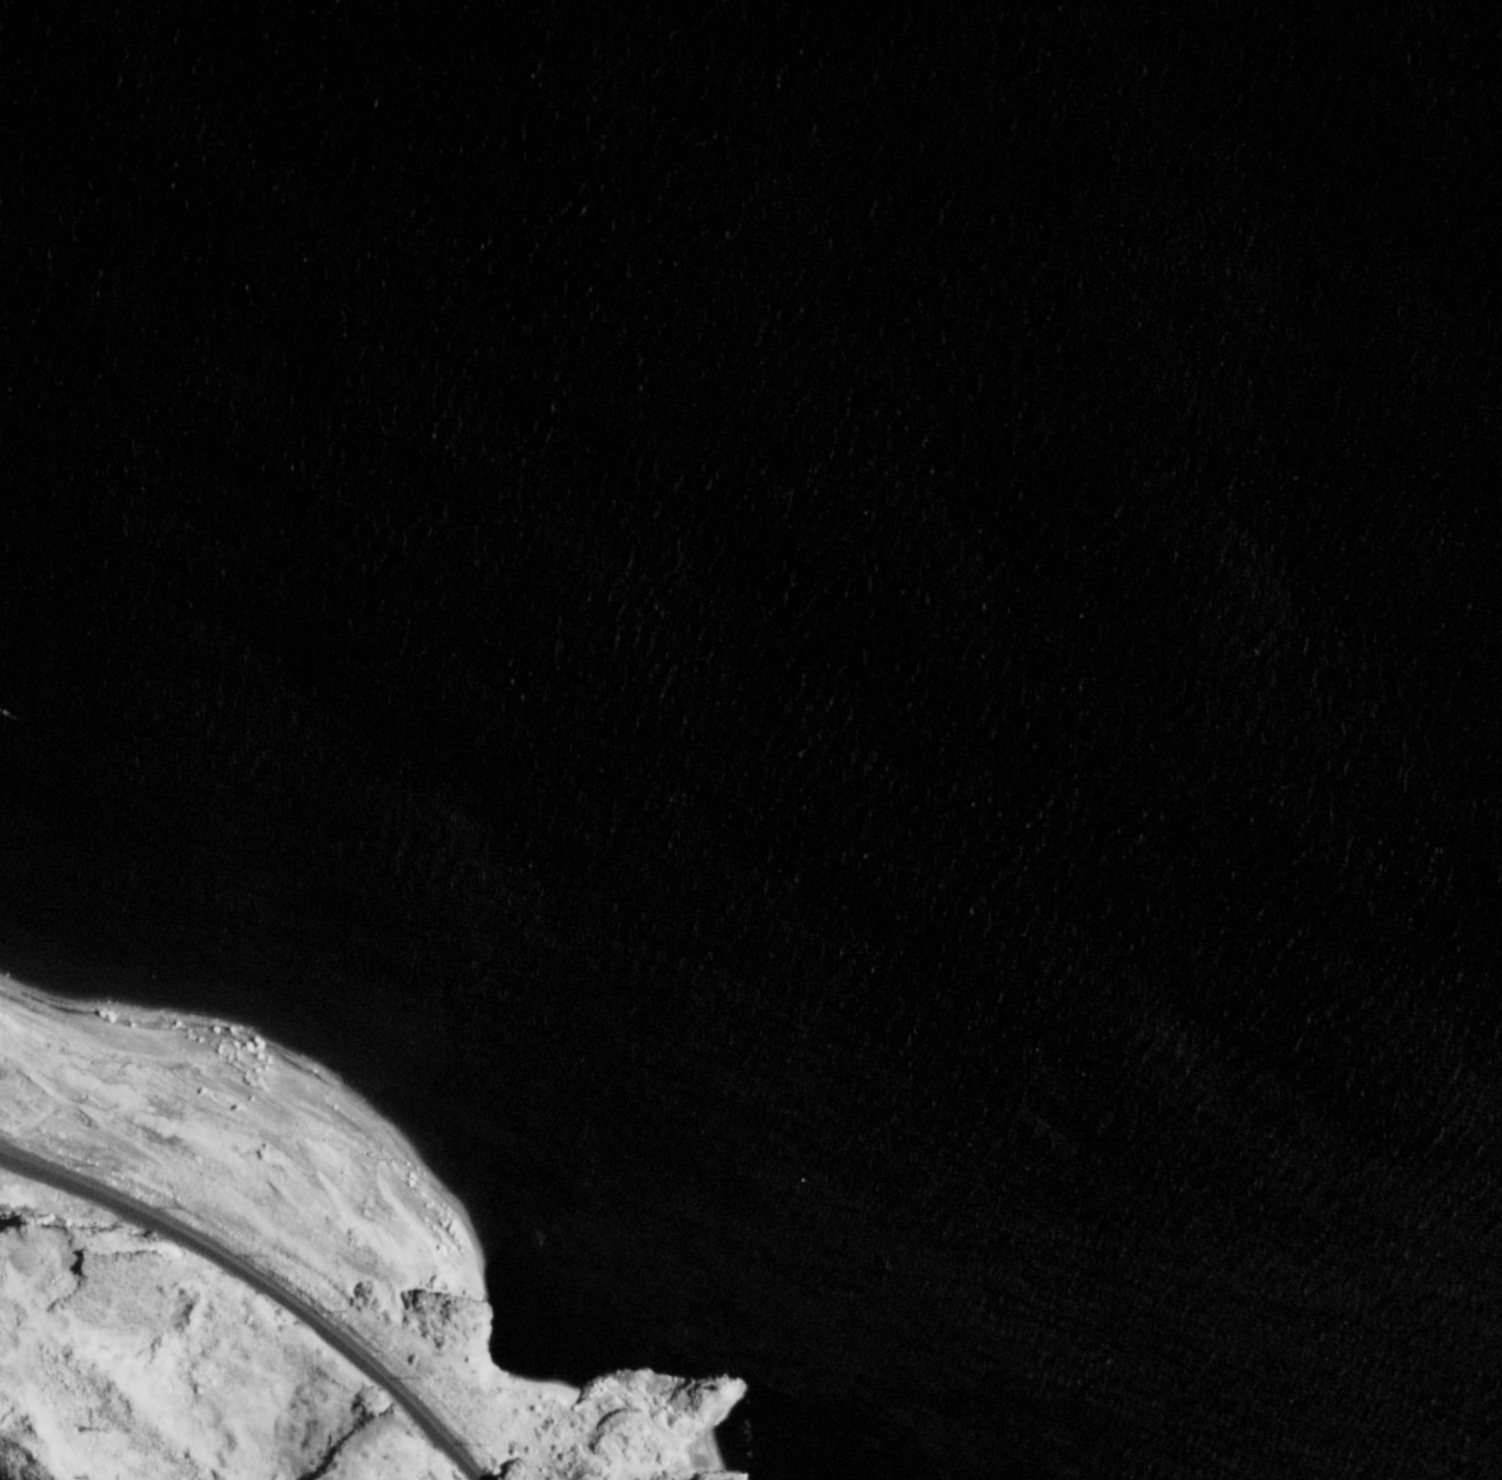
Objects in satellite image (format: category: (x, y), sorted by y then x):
river: (1102, 566)
railway: (260, 1285)

